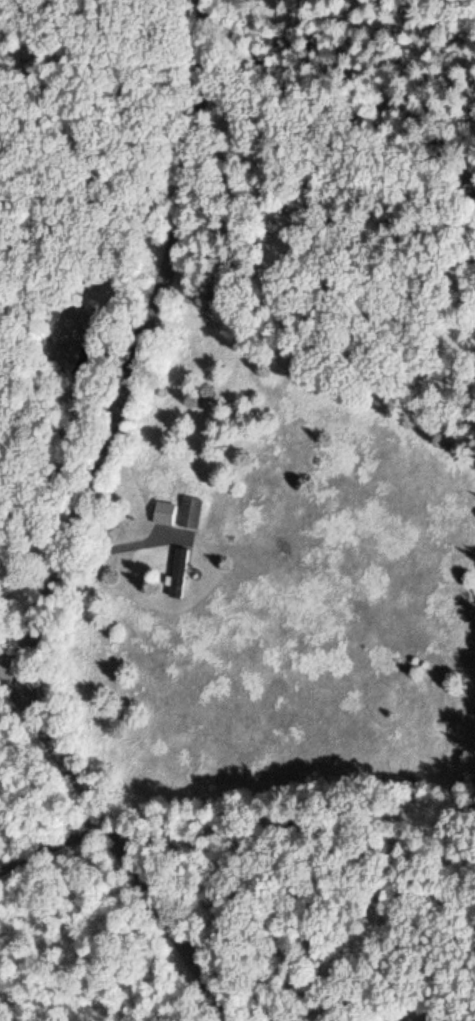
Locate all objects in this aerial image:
building: (74, 329)
building: (164, 512)
building: (190, 512)
road: (73, 533)
building: (178, 571)
road: (11, 670)
road: (144, 983)

